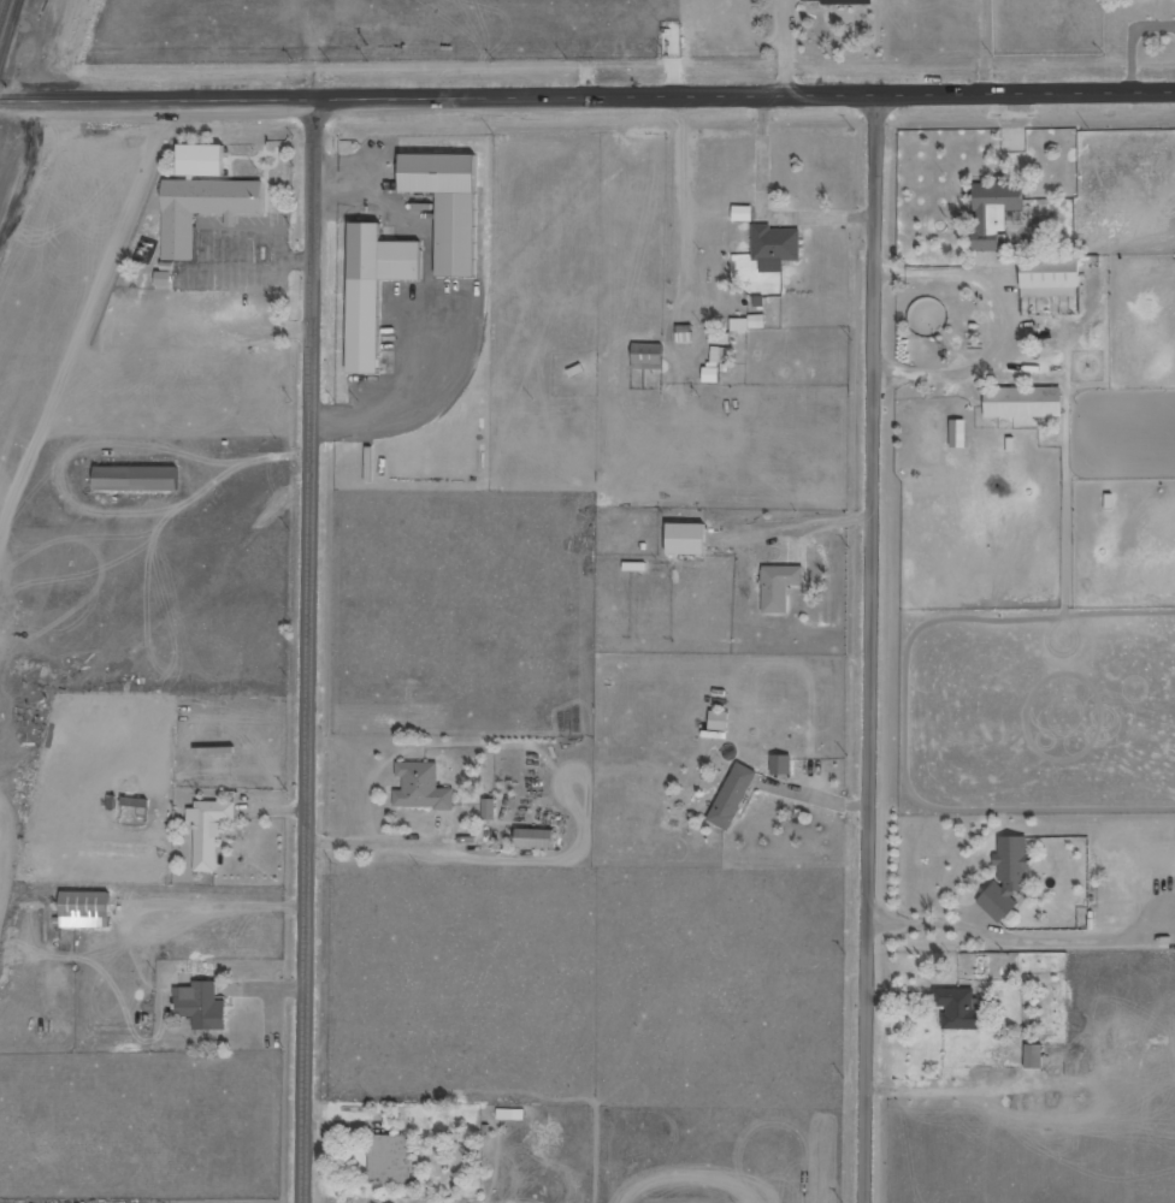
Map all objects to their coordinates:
railway: (24, 1)
building: (844, 1)
railway: (5, 18)
railway: (12, 41)
road: (587, 96)
building: (195, 160)
building: (442, 203)
building: (195, 209)
building: (996, 211)
building: (744, 213)
building: (775, 247)
building: (374, 257)
airport runway: (61, 275)
building: (1051, 277)
building: (165, 279)
building: (749, 324)
building: (721, 338)
building: (649, 356)
building: (718, 356)
building: (713, 375)
airport: (30, 401)
building: (1025, 402)
building: (958, 434)
building: (129, 481)
building: (689, 539)
building: (780, 587)
road: (874, 646)
road: (308, 652)
building: (720, 721)
building: (783, 764)
building: (423, 787)
building: (734, 796)
building: (490, 808)
building: (209, 831)
building: (537, 838)
building: (1010, 872)
building: (85, 909)
building: (203, 1006)
building: (961, 1009)
building: (1034, 1056)
building: (512, 1114)
building: (391, 1158)

